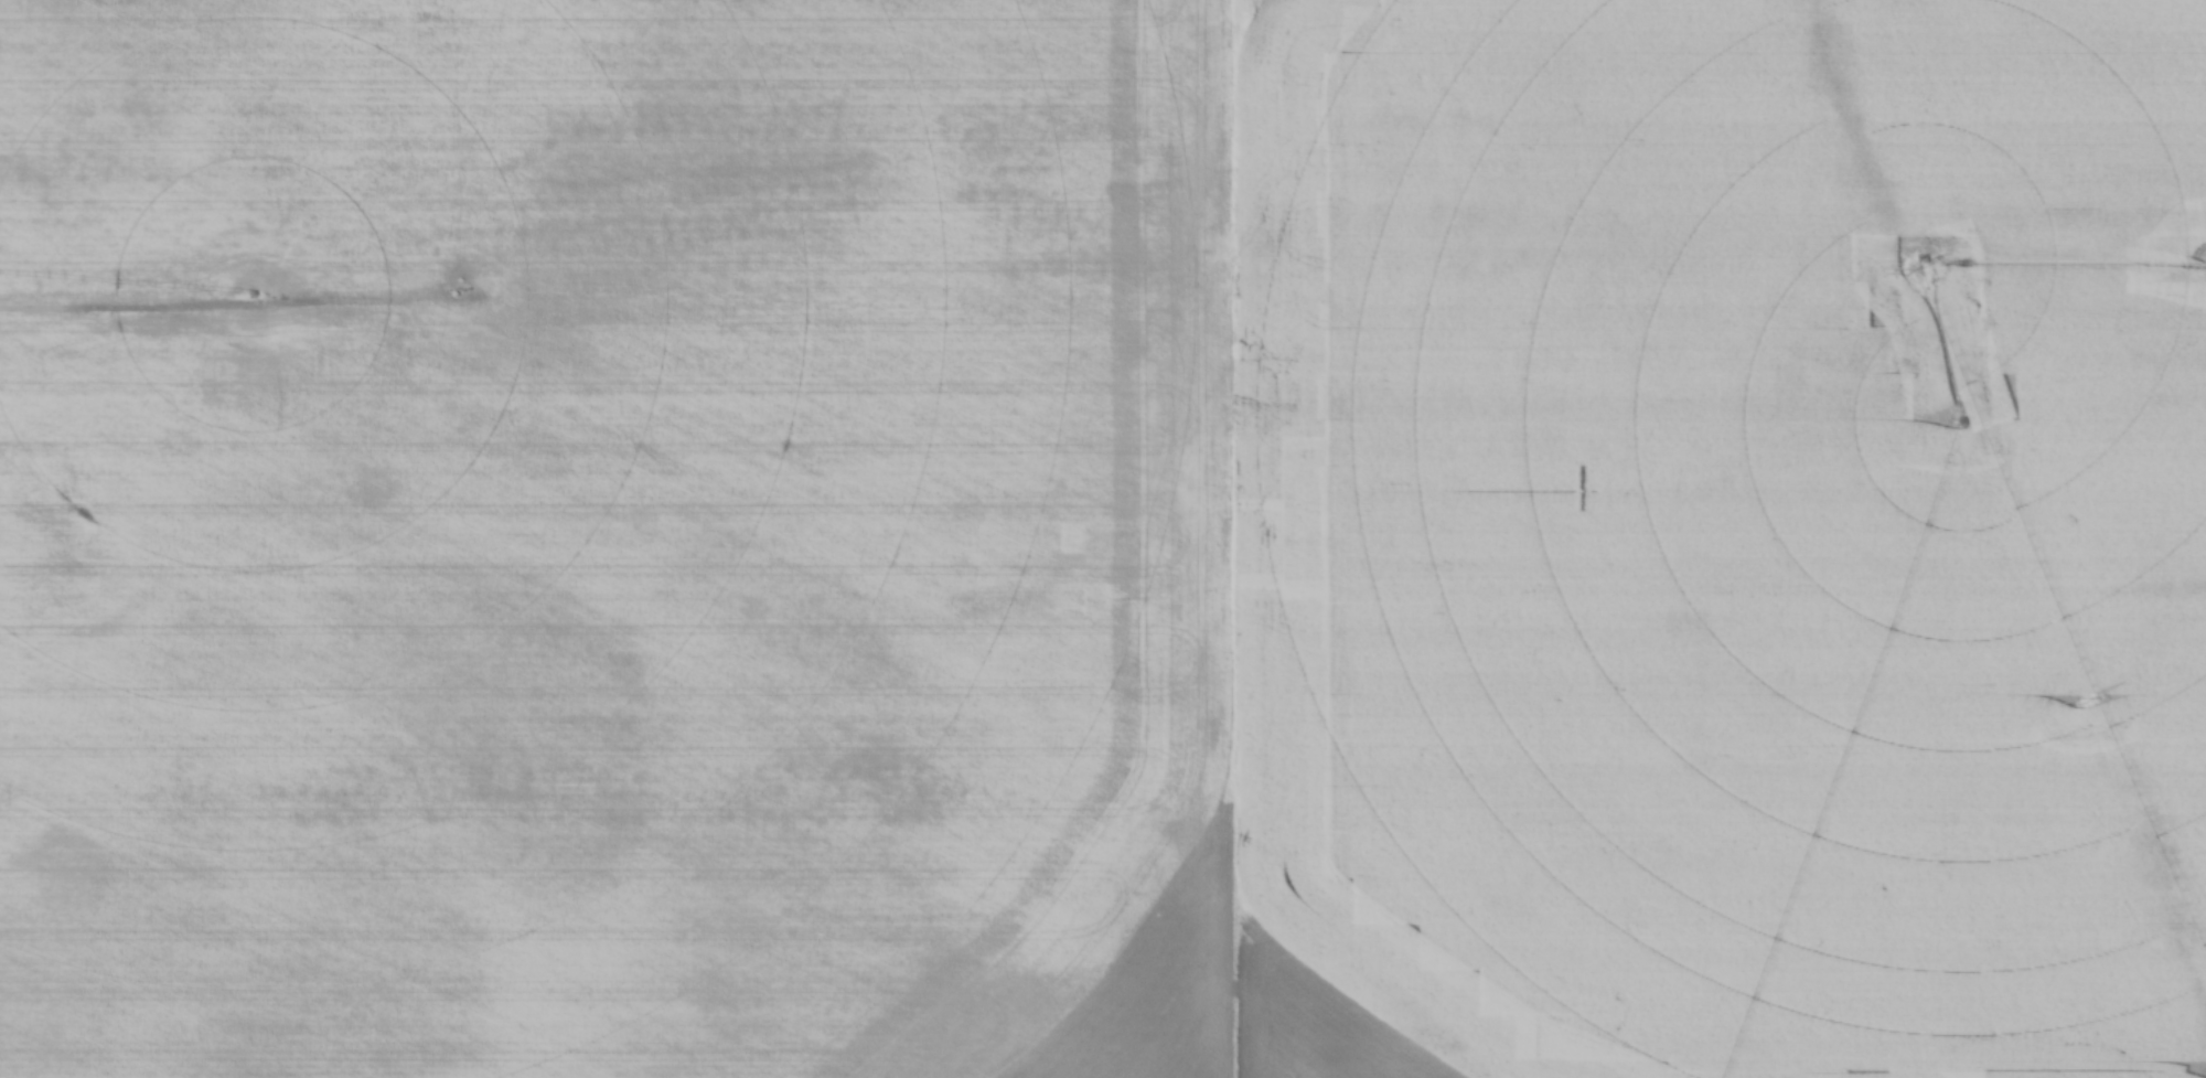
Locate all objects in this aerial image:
power tower: (1909, 271)
power tower: (2085, 703)

